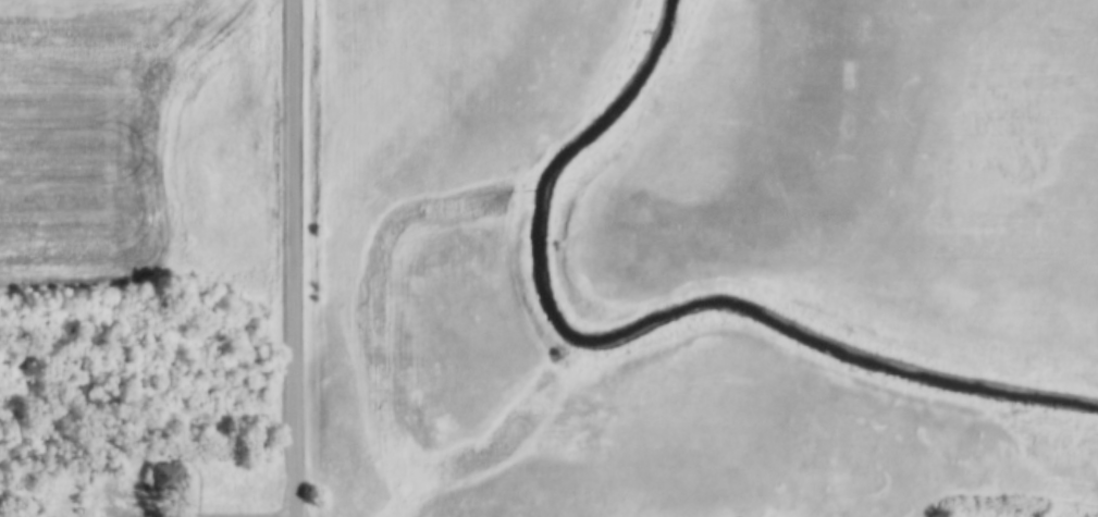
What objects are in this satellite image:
road: (297, 258)
building: (107, 468)
building: (166, 478)

